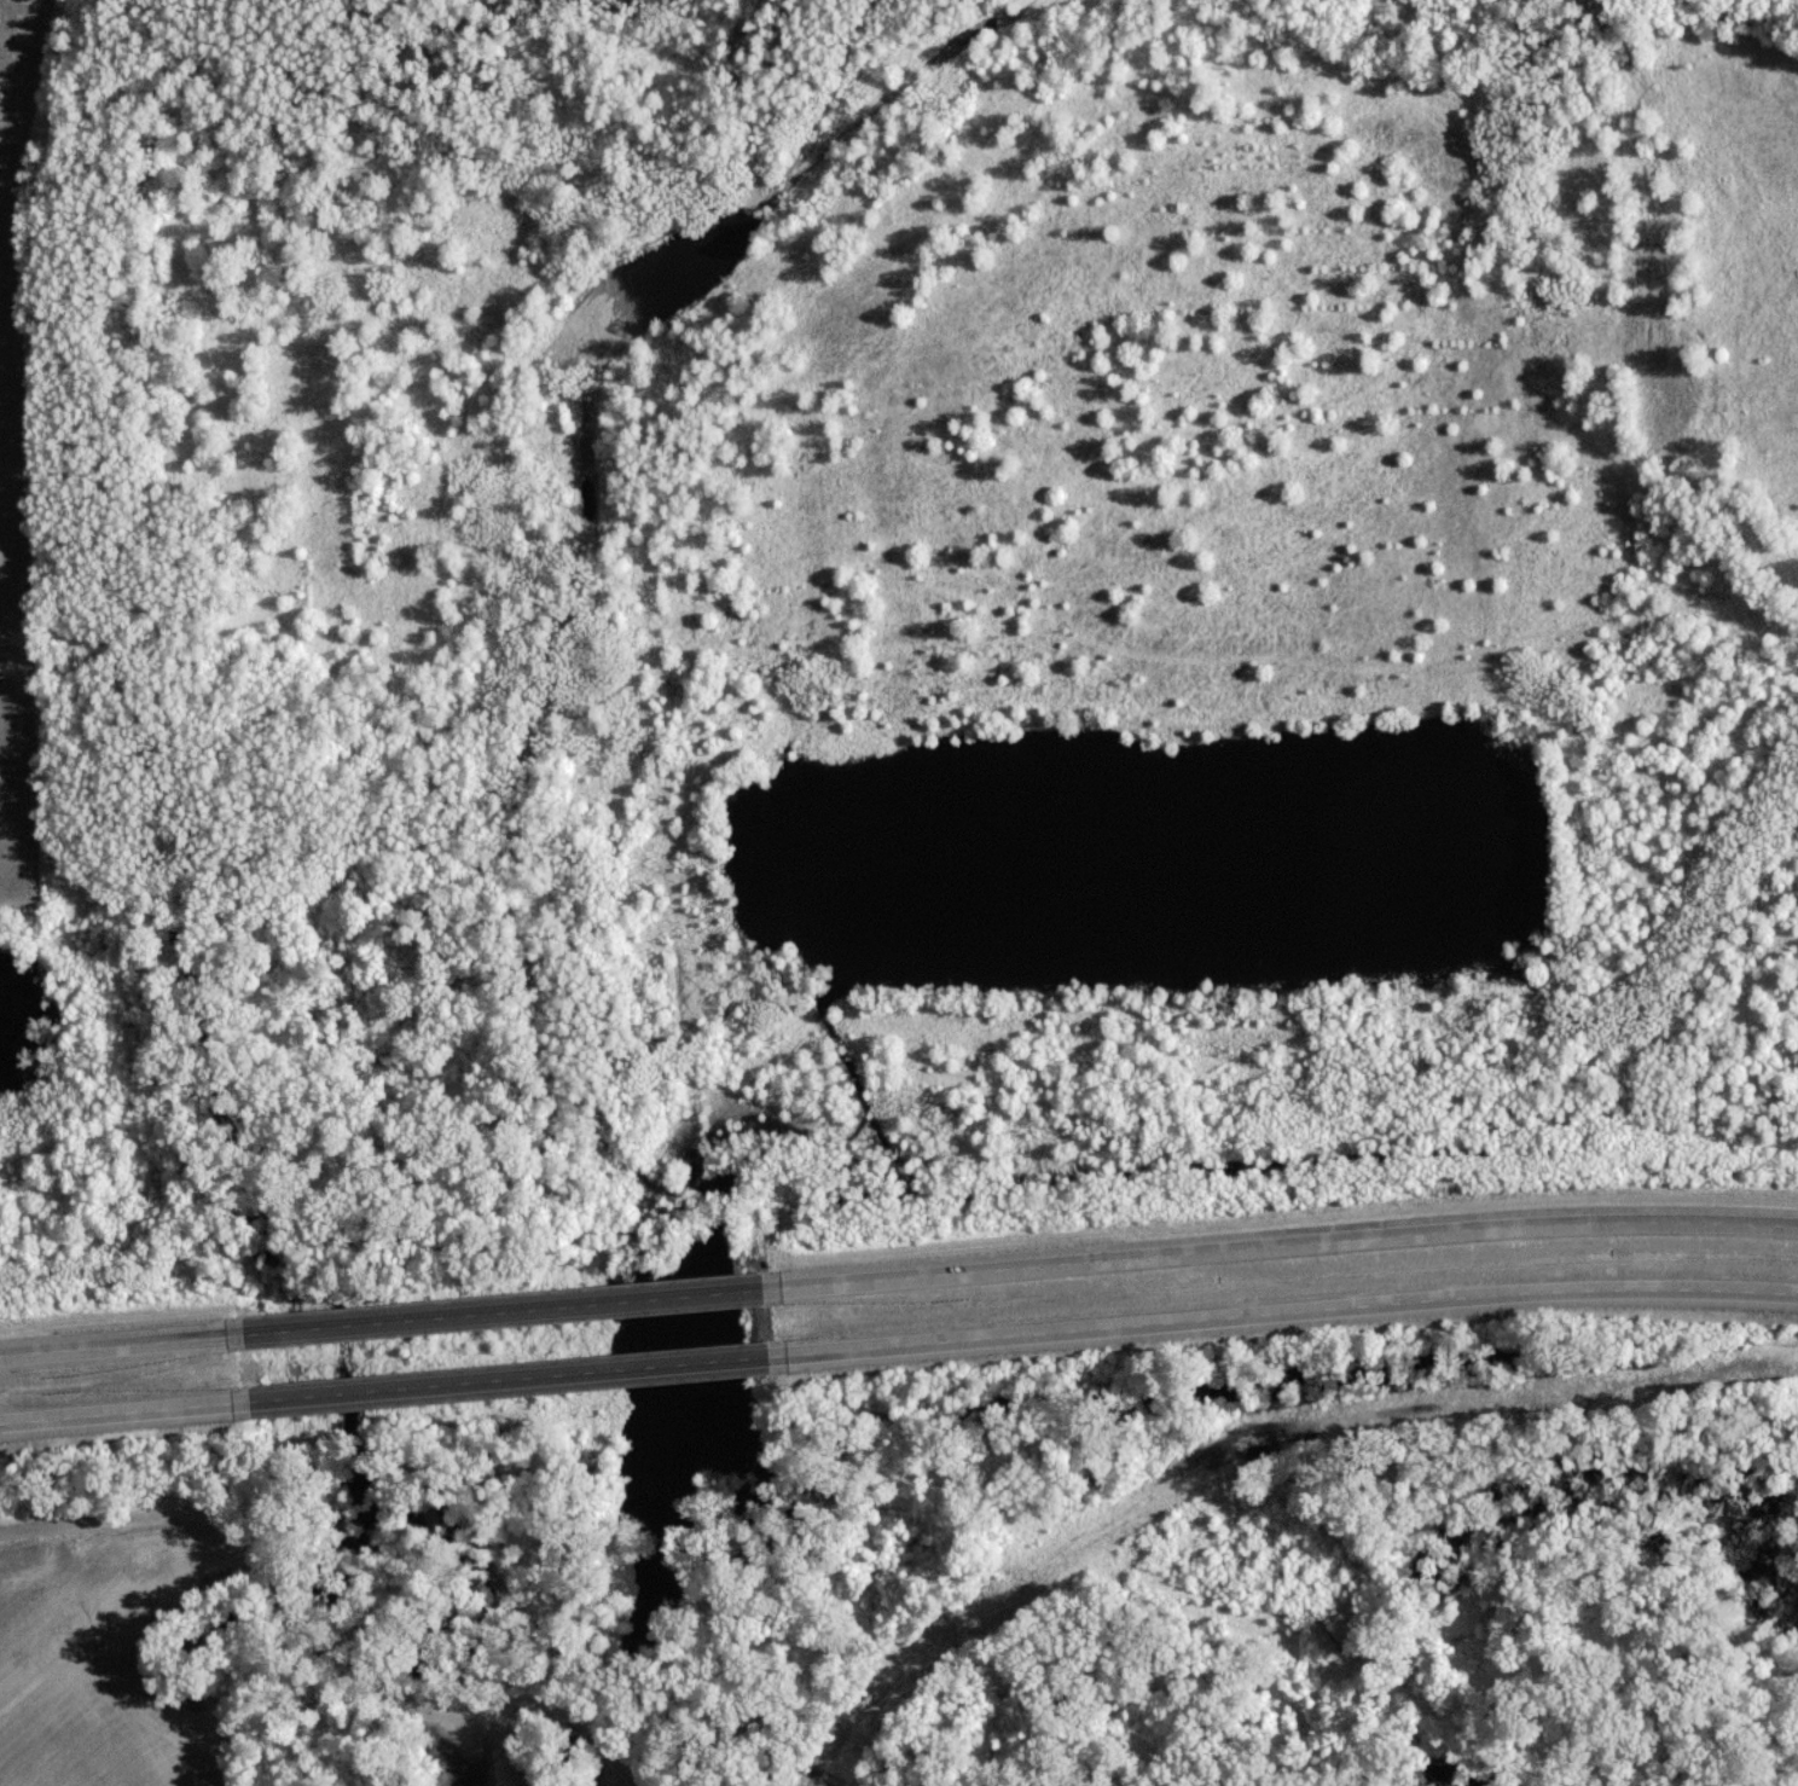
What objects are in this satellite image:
road: (1277, 1243)
road: (1286, 1316)
road: (495, 1320)
road: (115, 1352)
road: (505, 1386)
road: (117, 1419)
road: (81, 1527)
road: (367, 1692)

